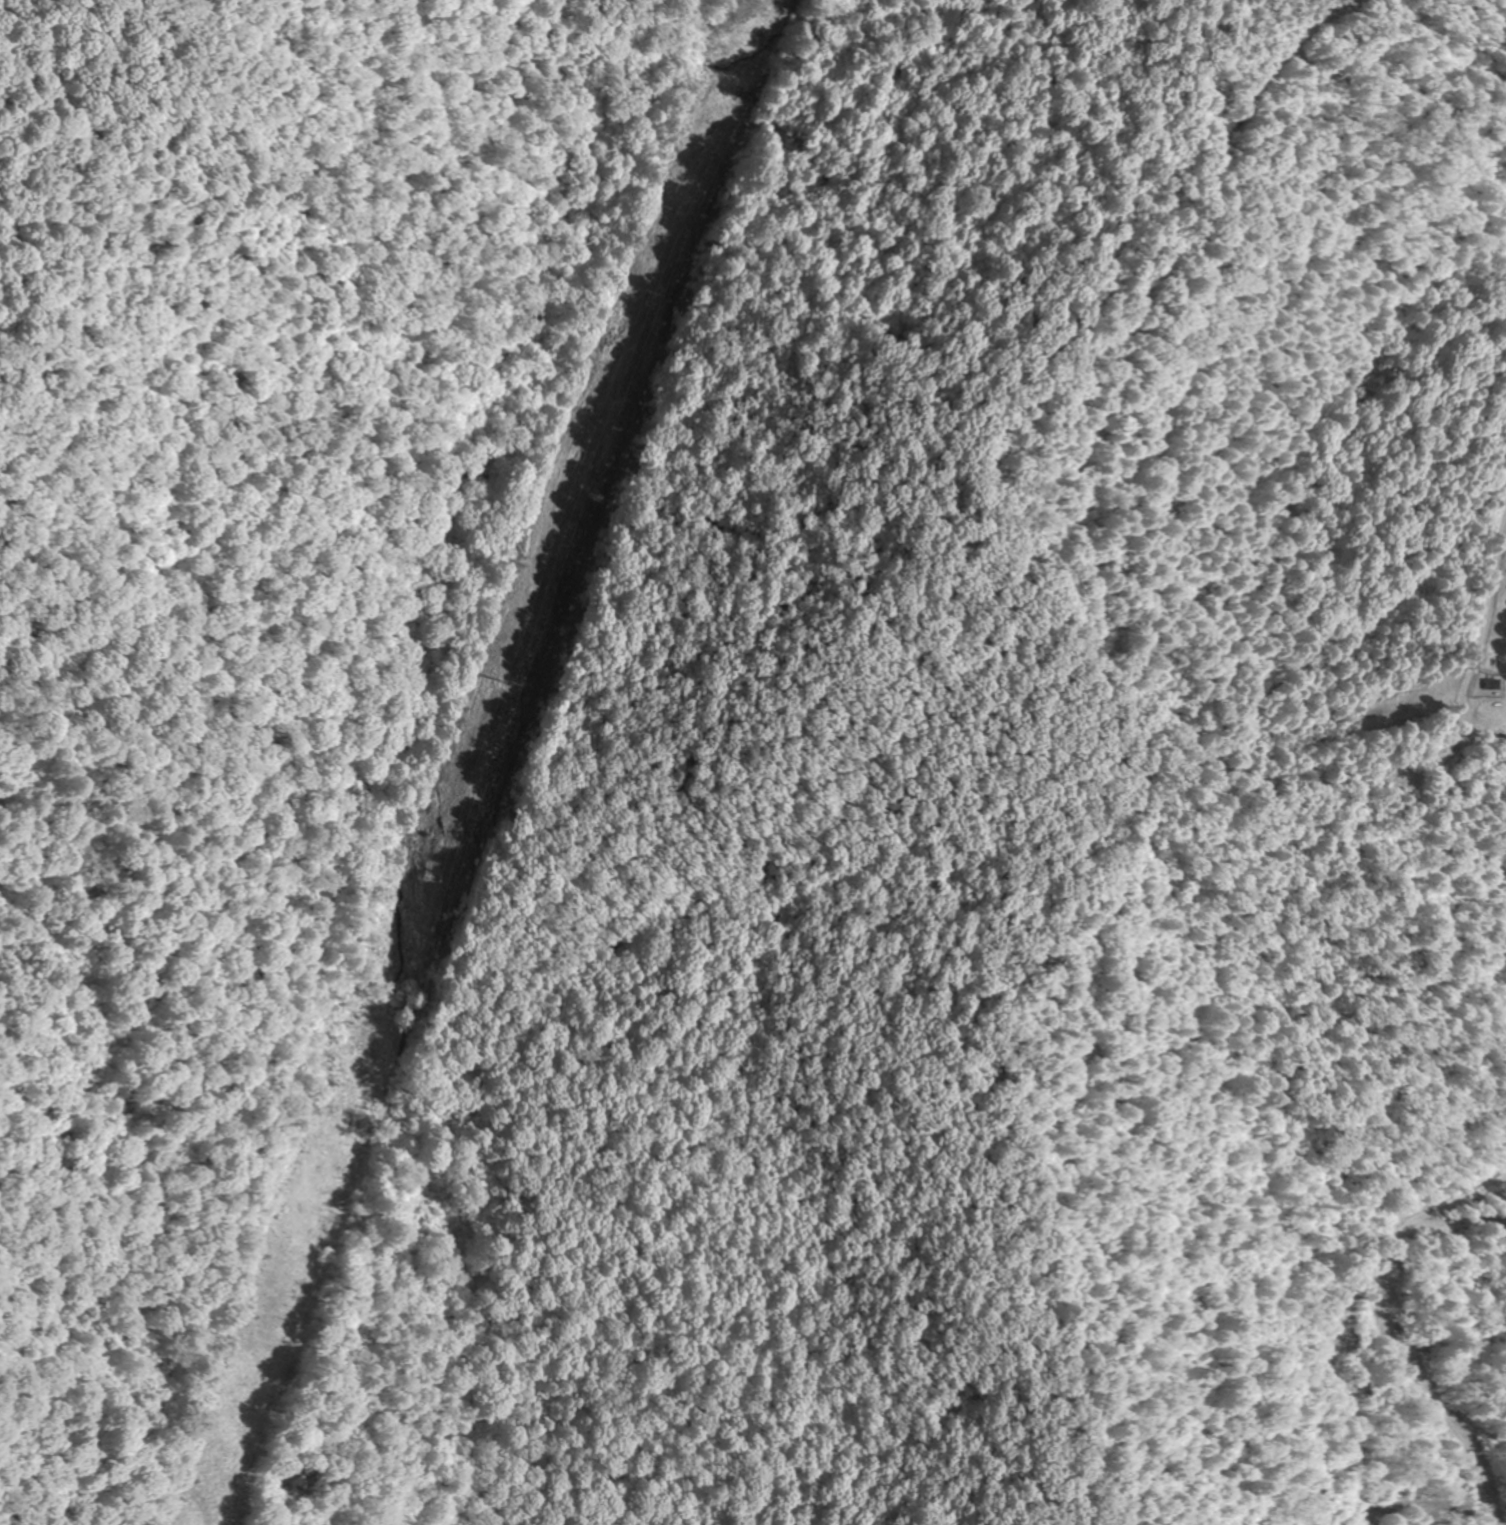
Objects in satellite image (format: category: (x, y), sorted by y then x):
building: (1490, 684)

